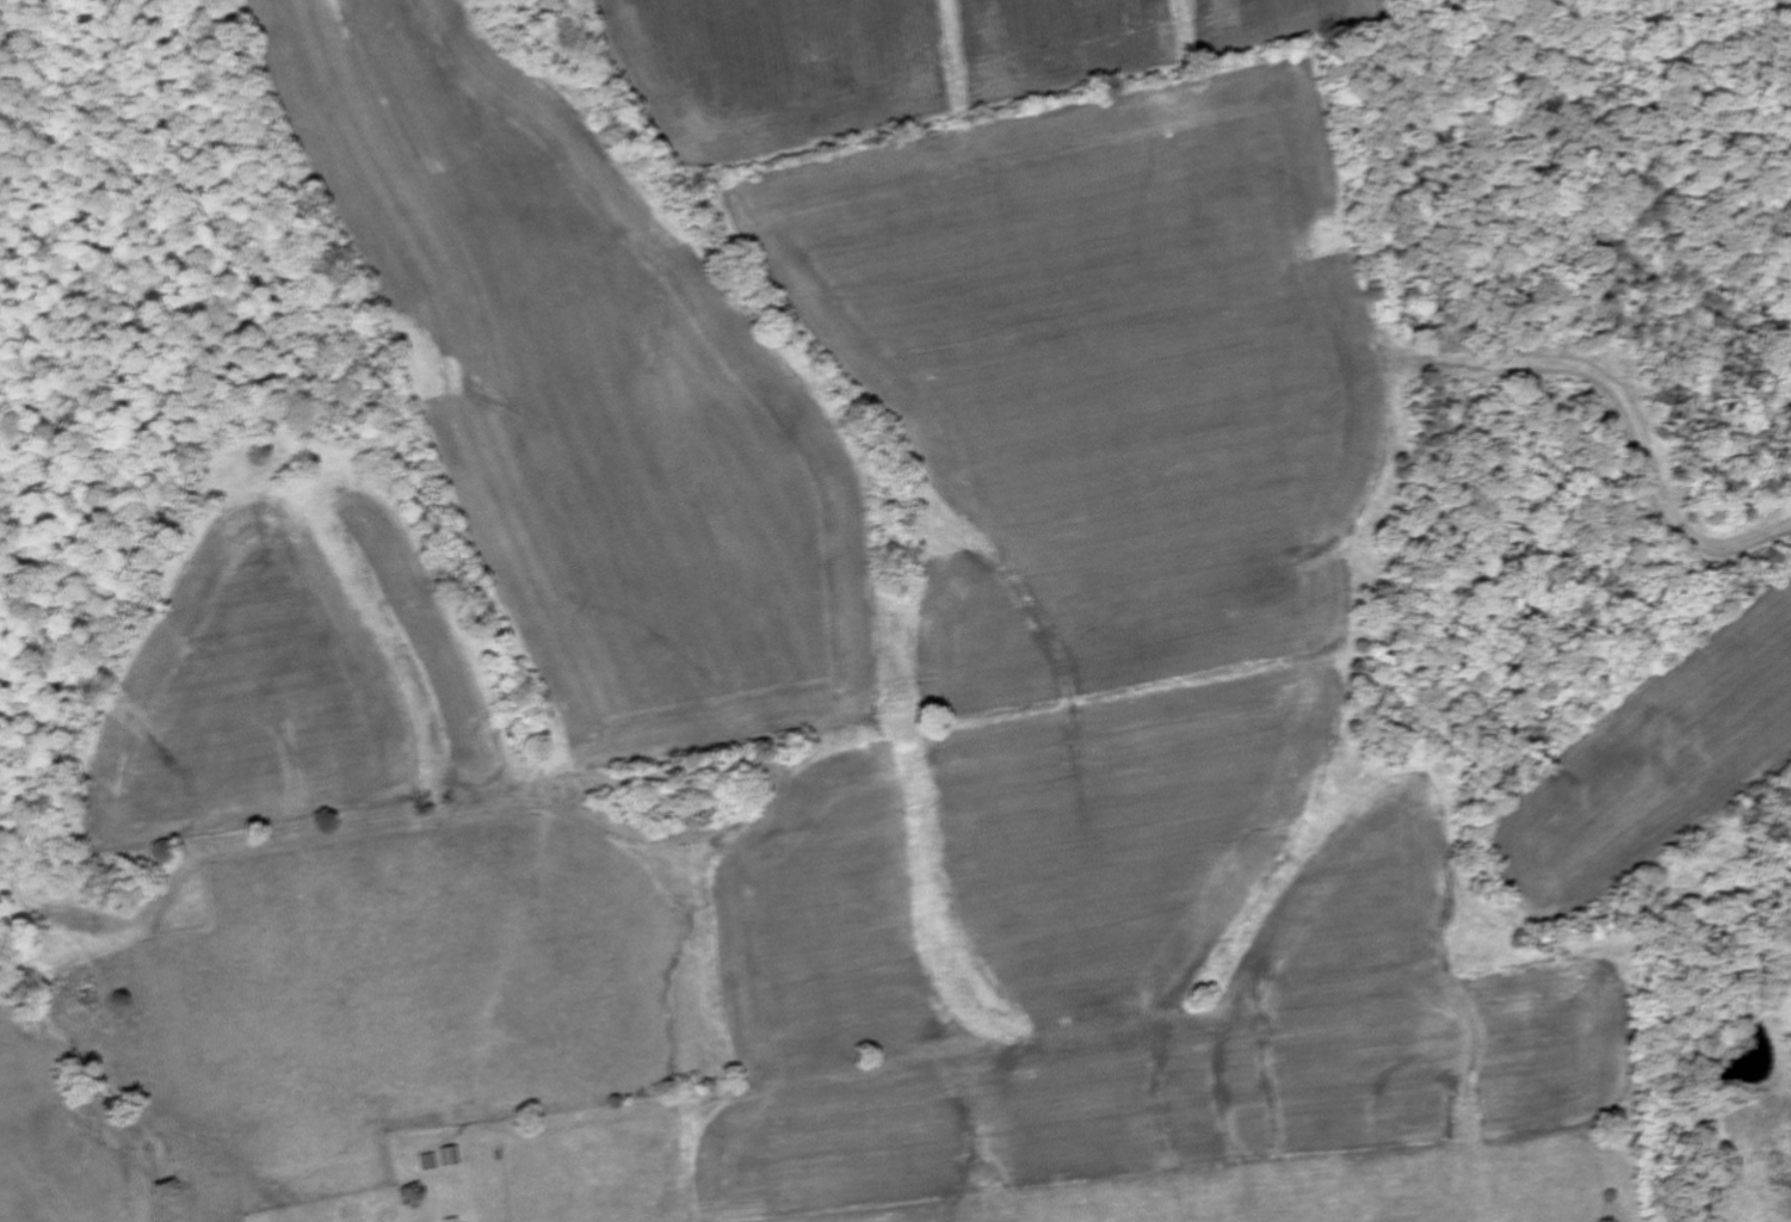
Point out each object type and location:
building: (449, 1159)
building: (430, 1165)

